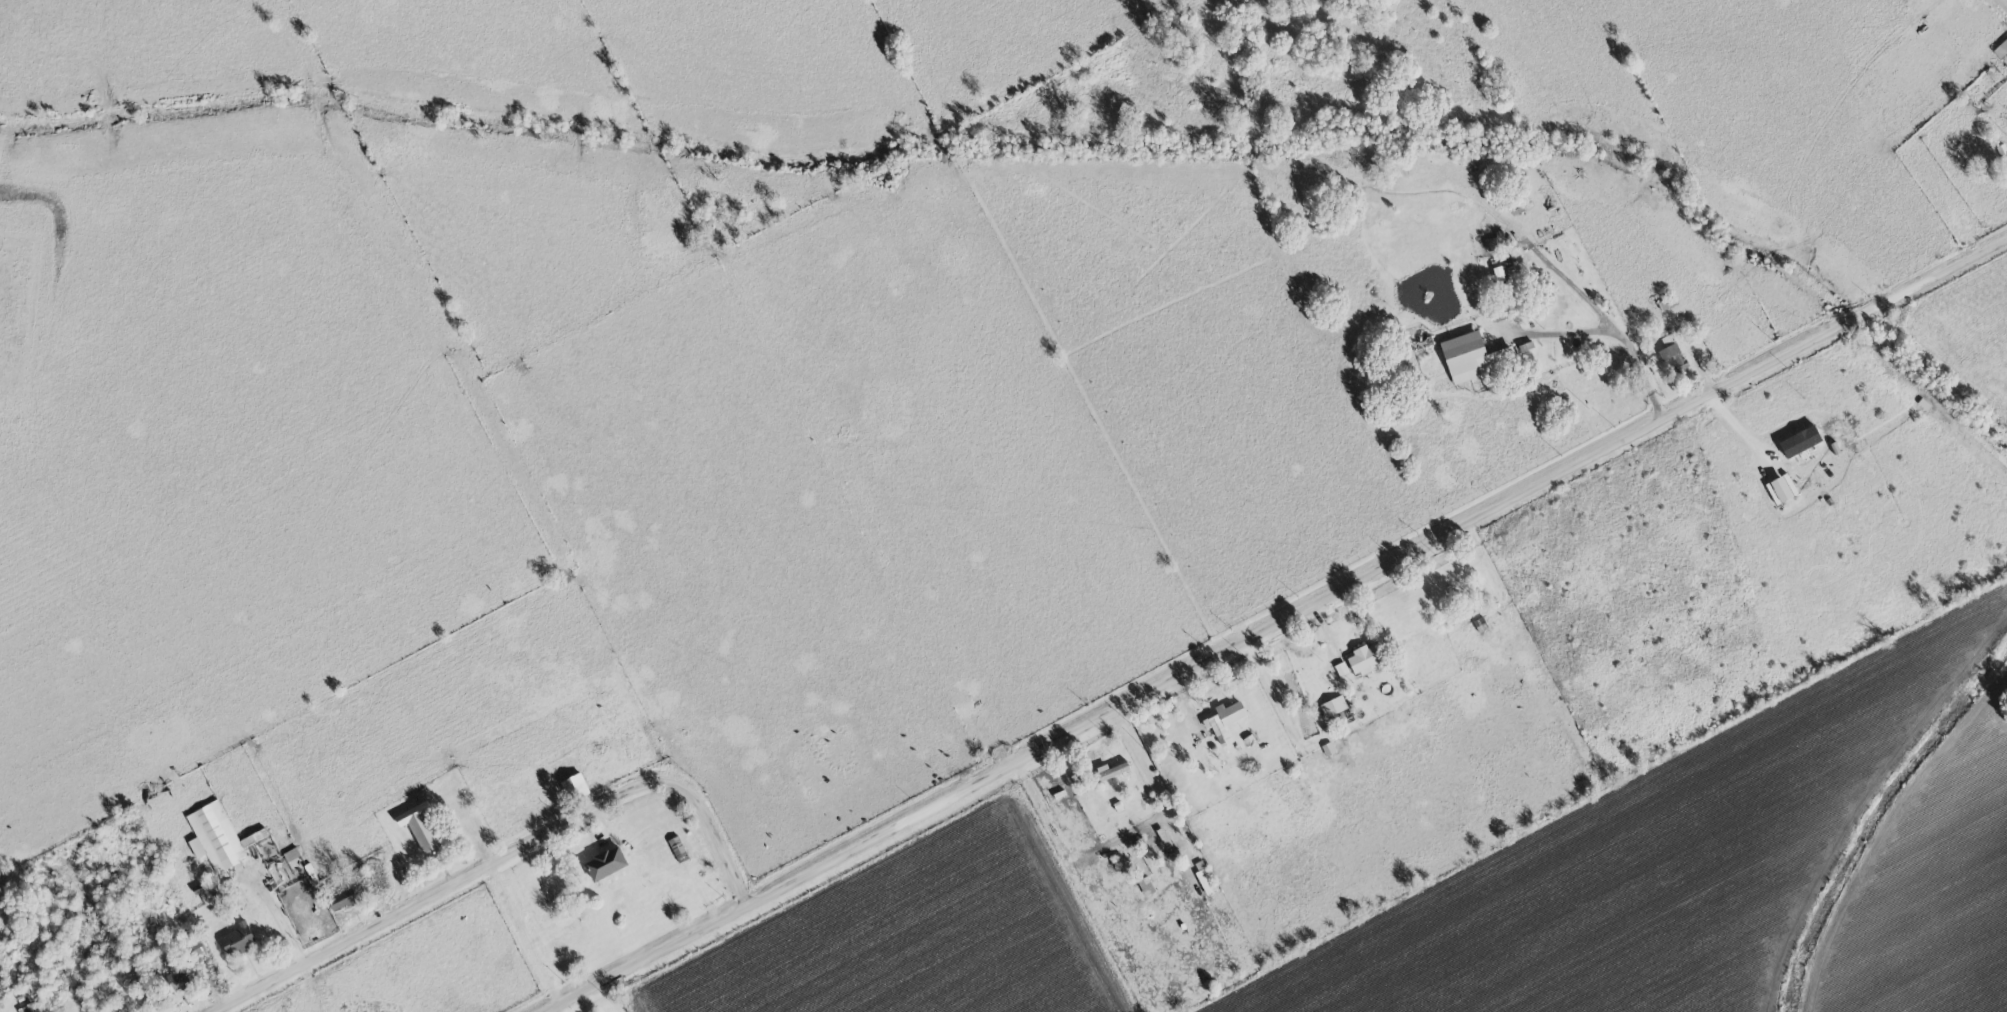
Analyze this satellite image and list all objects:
building: (1496, 244)
building: (1502, 275)
road: (1627, 353)
building: (1675, 356)
building: (1468, 357)
road: (1738, 378)
road: (1482, 552)
road: (1327, 629)
building: (1367, 660)
building: (1344, 669)
building: (1336, 707)
building: (1228, 719)
road: (1071, 760)
building: (1114, 771)
road: (1007, 772)
building: (578, 787)
building: (424, 829)
building: (221, 838)
road: (720, 849)
building: (609, 864)
building: (1209, 881)
road: (451, 885)
building: (346, 900)
building: (241, 940)

